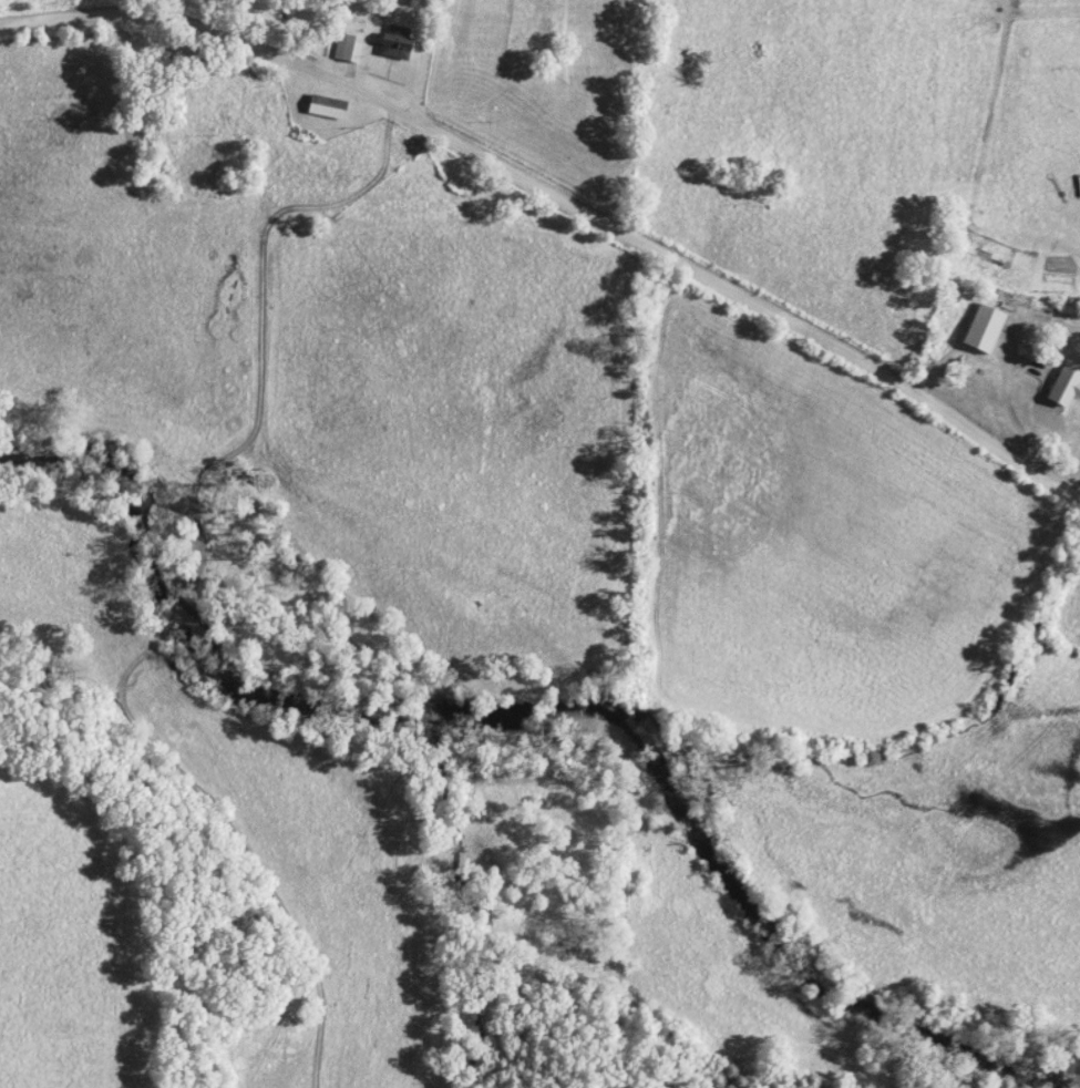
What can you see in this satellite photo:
building: (394, 47)
building: (348, 50)
building: (326, 109)
road: (563, 197)
building: (981, 329)
building: (1064, 384)
road: (1004, 389)
road: (1076, 474)
road: (1068, 489)

